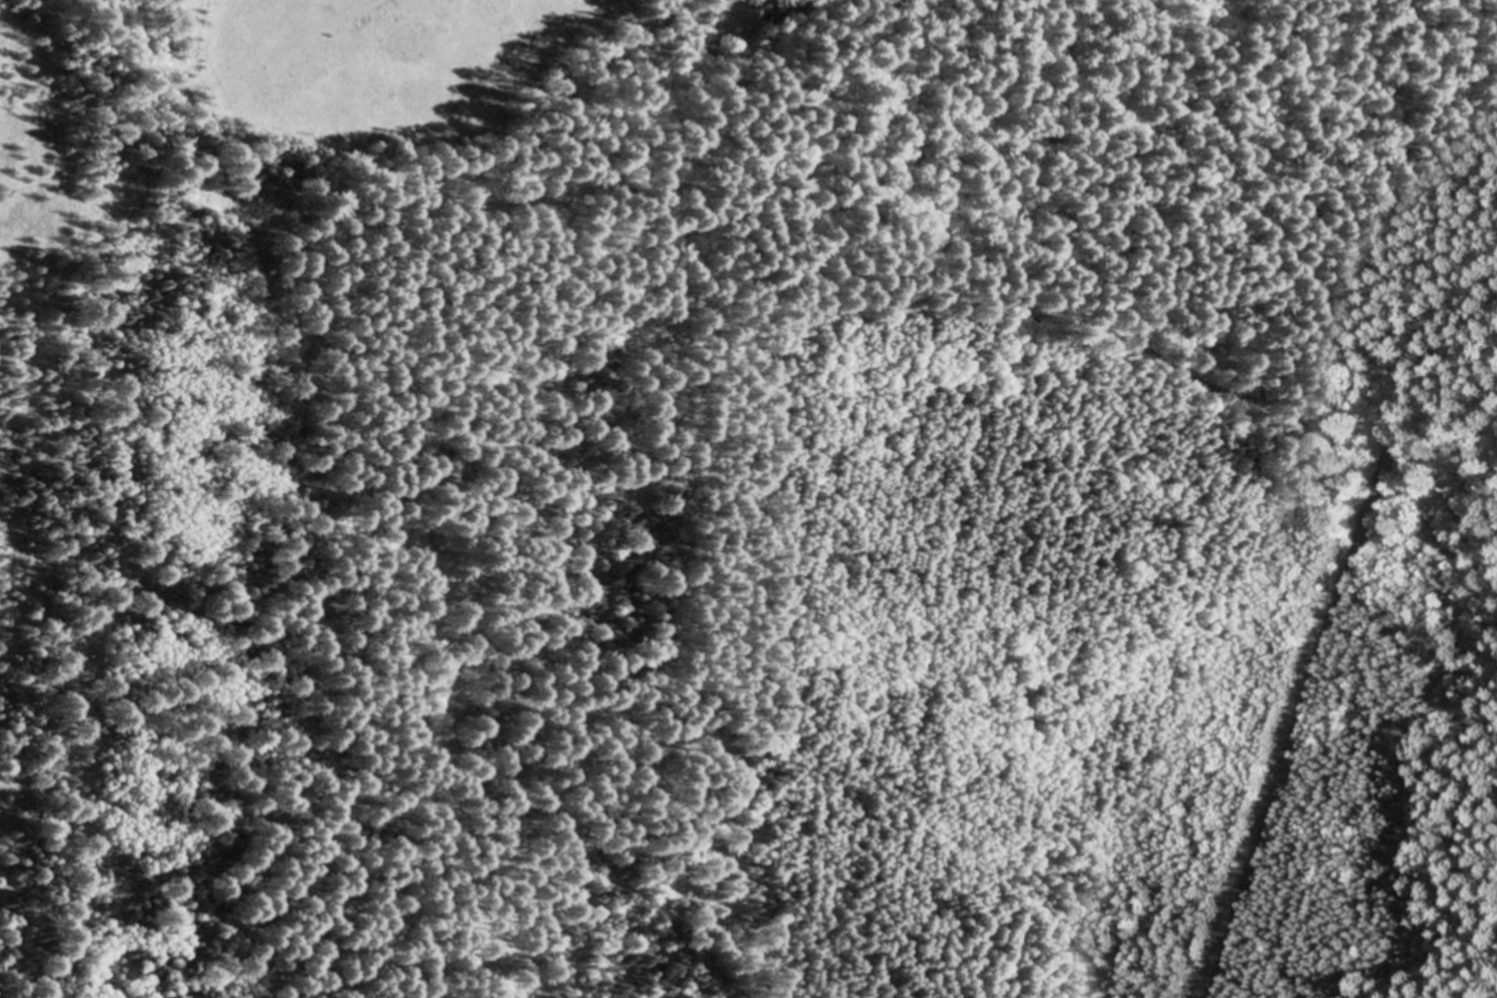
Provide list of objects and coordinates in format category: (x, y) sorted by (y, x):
road: (1332, 629)

